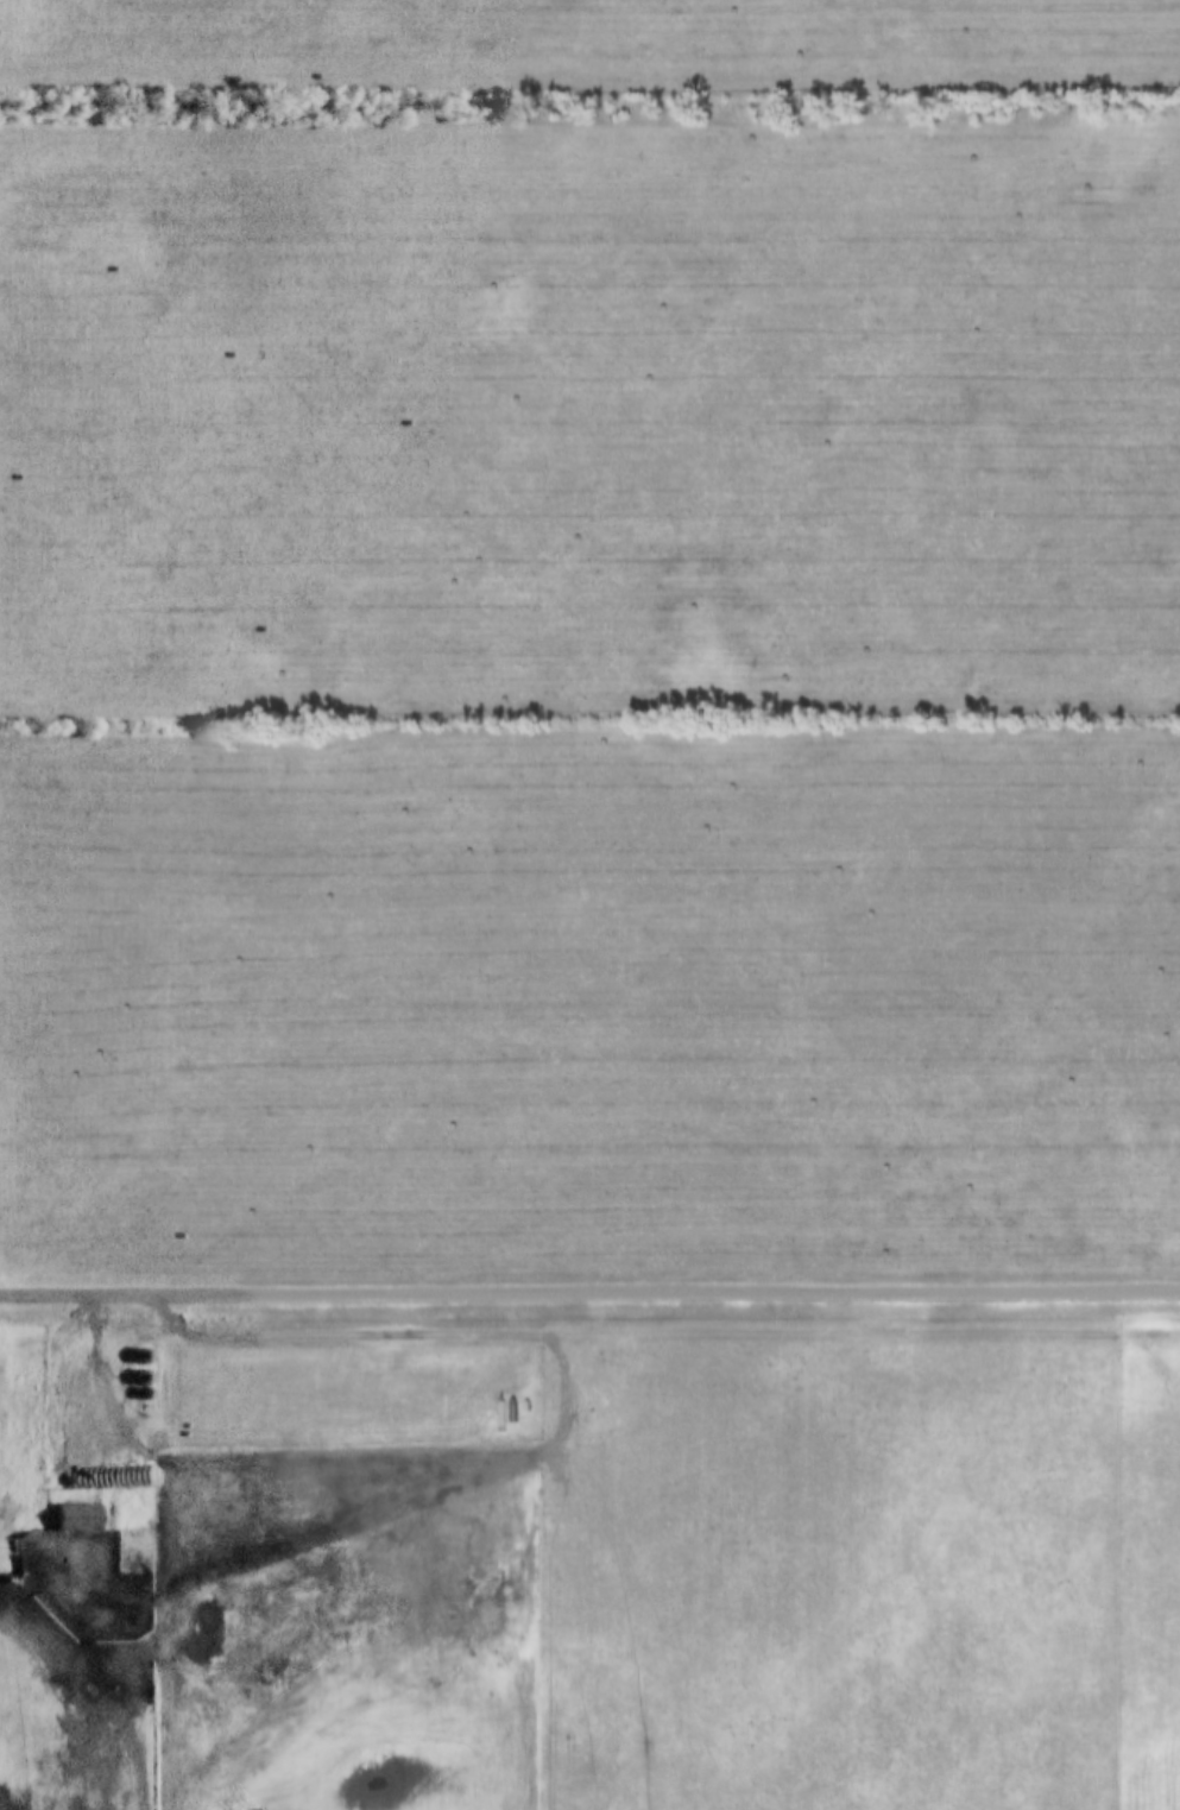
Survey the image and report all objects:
road: (589, 1291)
road: (170, 1459)
building: (75, 1516)
road: (67, 1684)

